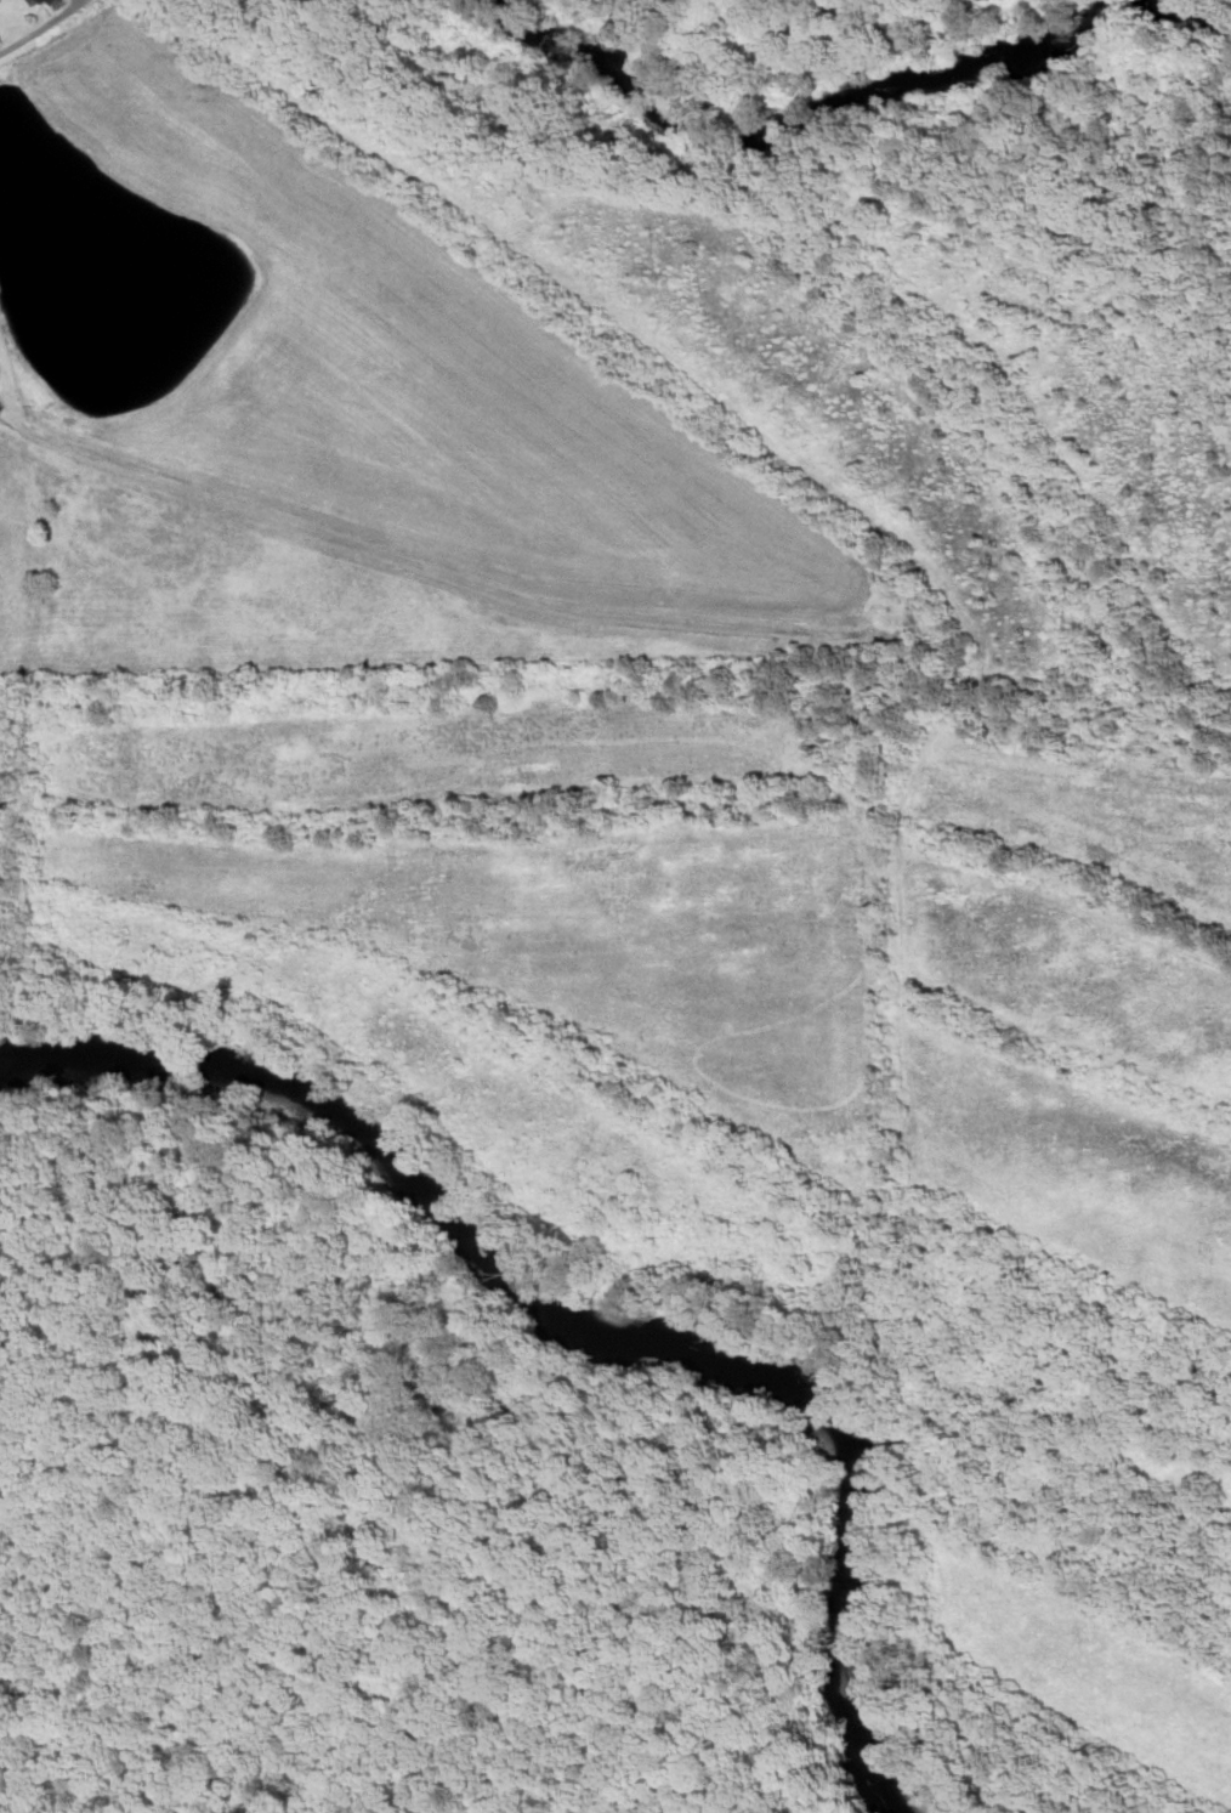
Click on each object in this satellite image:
building: (40, 1)
road: (41, 27)
river: (858, 109)
river: (585, 1331)
road: (340, 1664)

